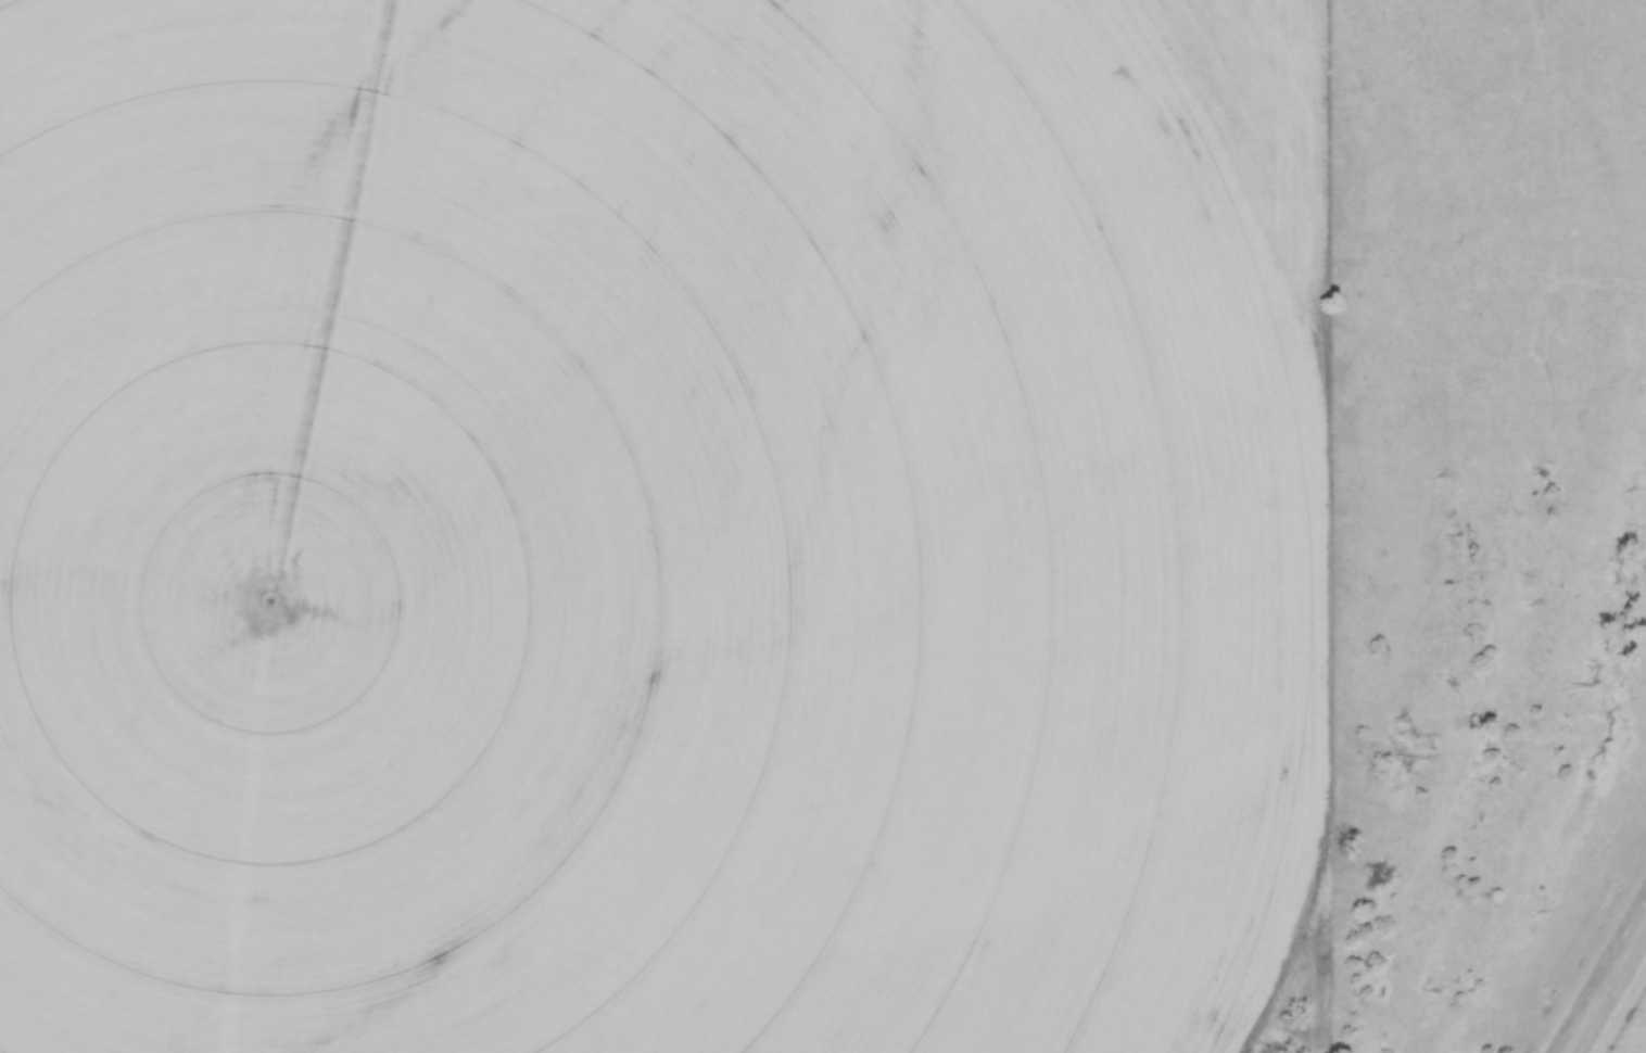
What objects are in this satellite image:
road: (1606, 984)

